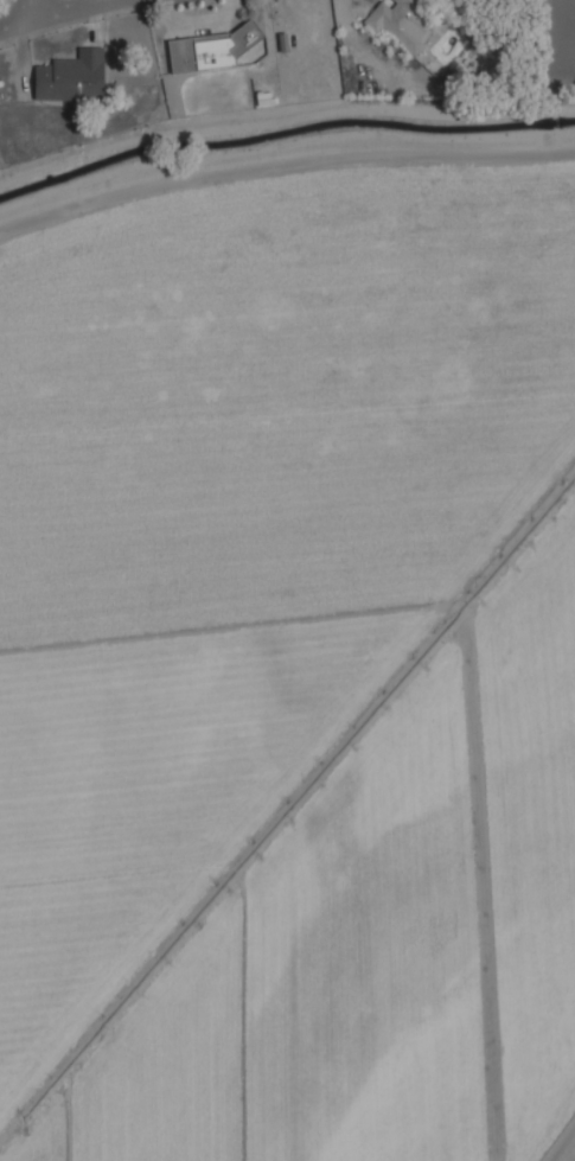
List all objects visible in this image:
road: (30, 11)
road: (70, 11)
building: (405, 20)
road: (14, 25)
building: (210, 47)
building: (72, 76)
road: (285, 157)
crop: (242, 534)
crop: (385, 939)

